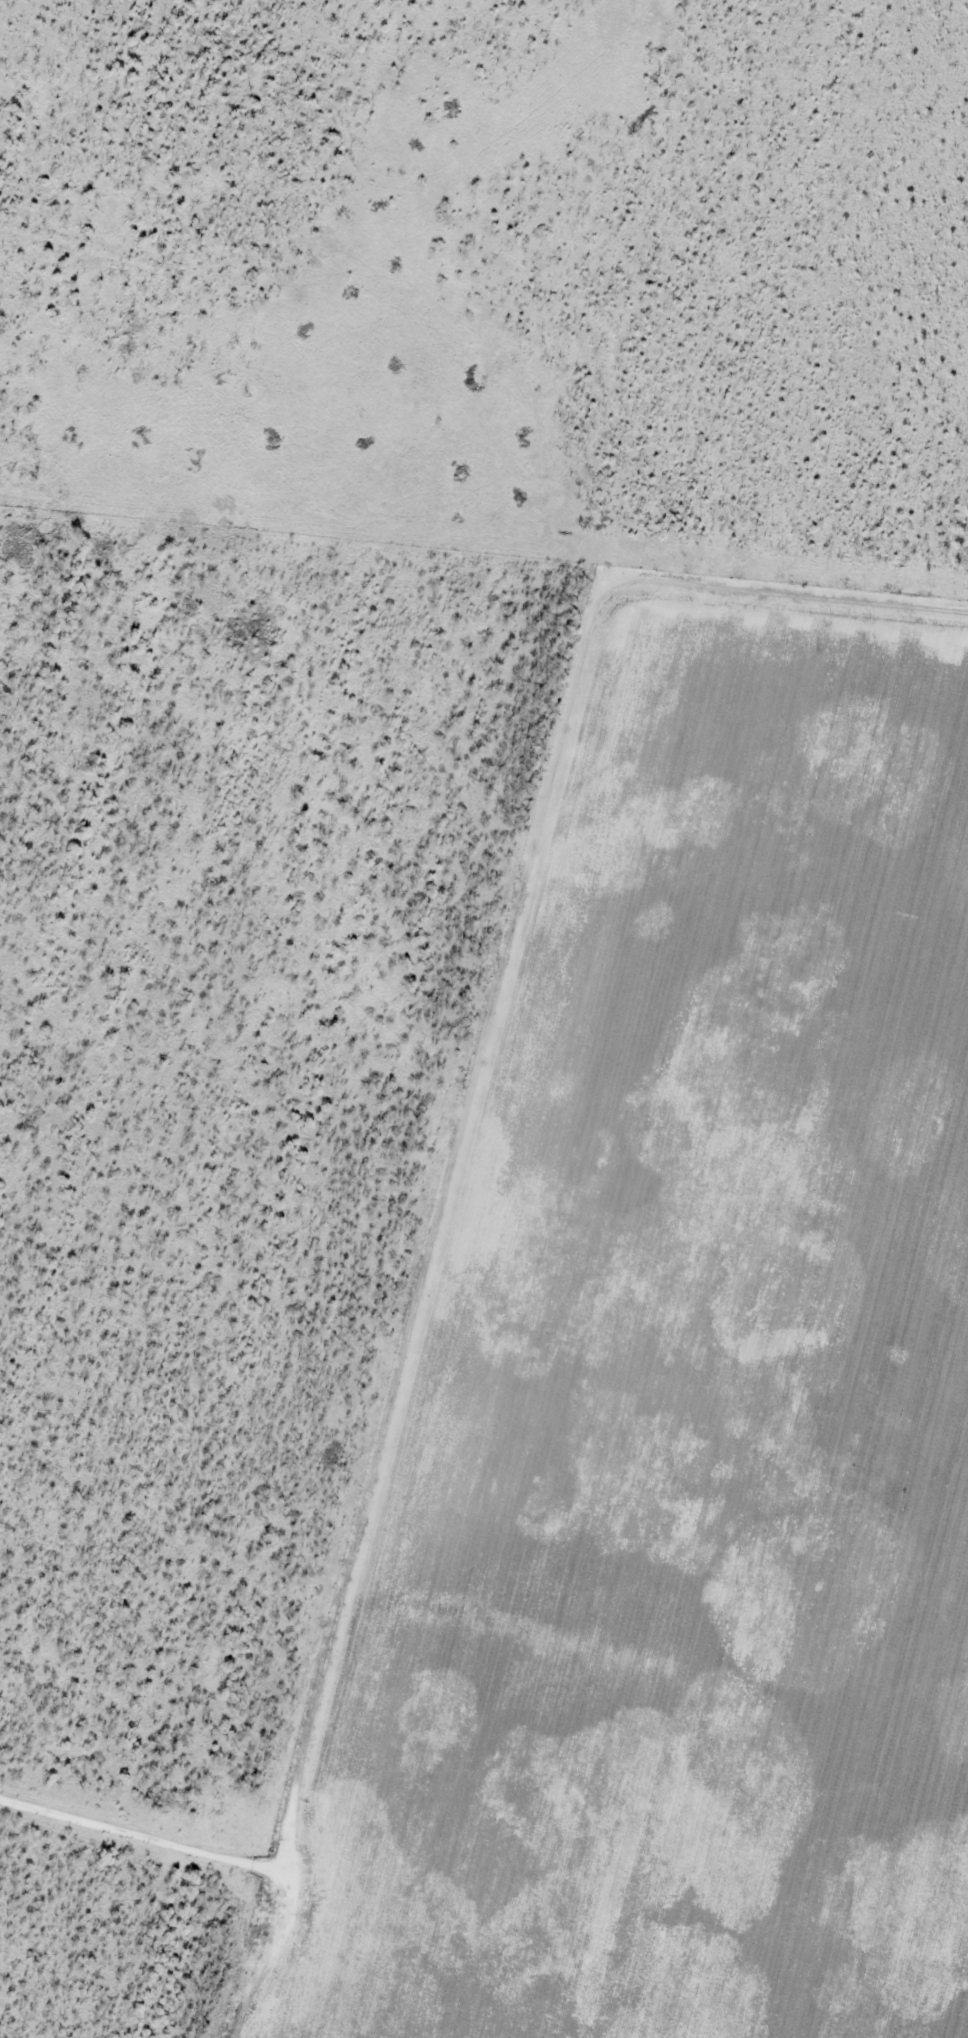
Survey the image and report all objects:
road: (87, 1823)

